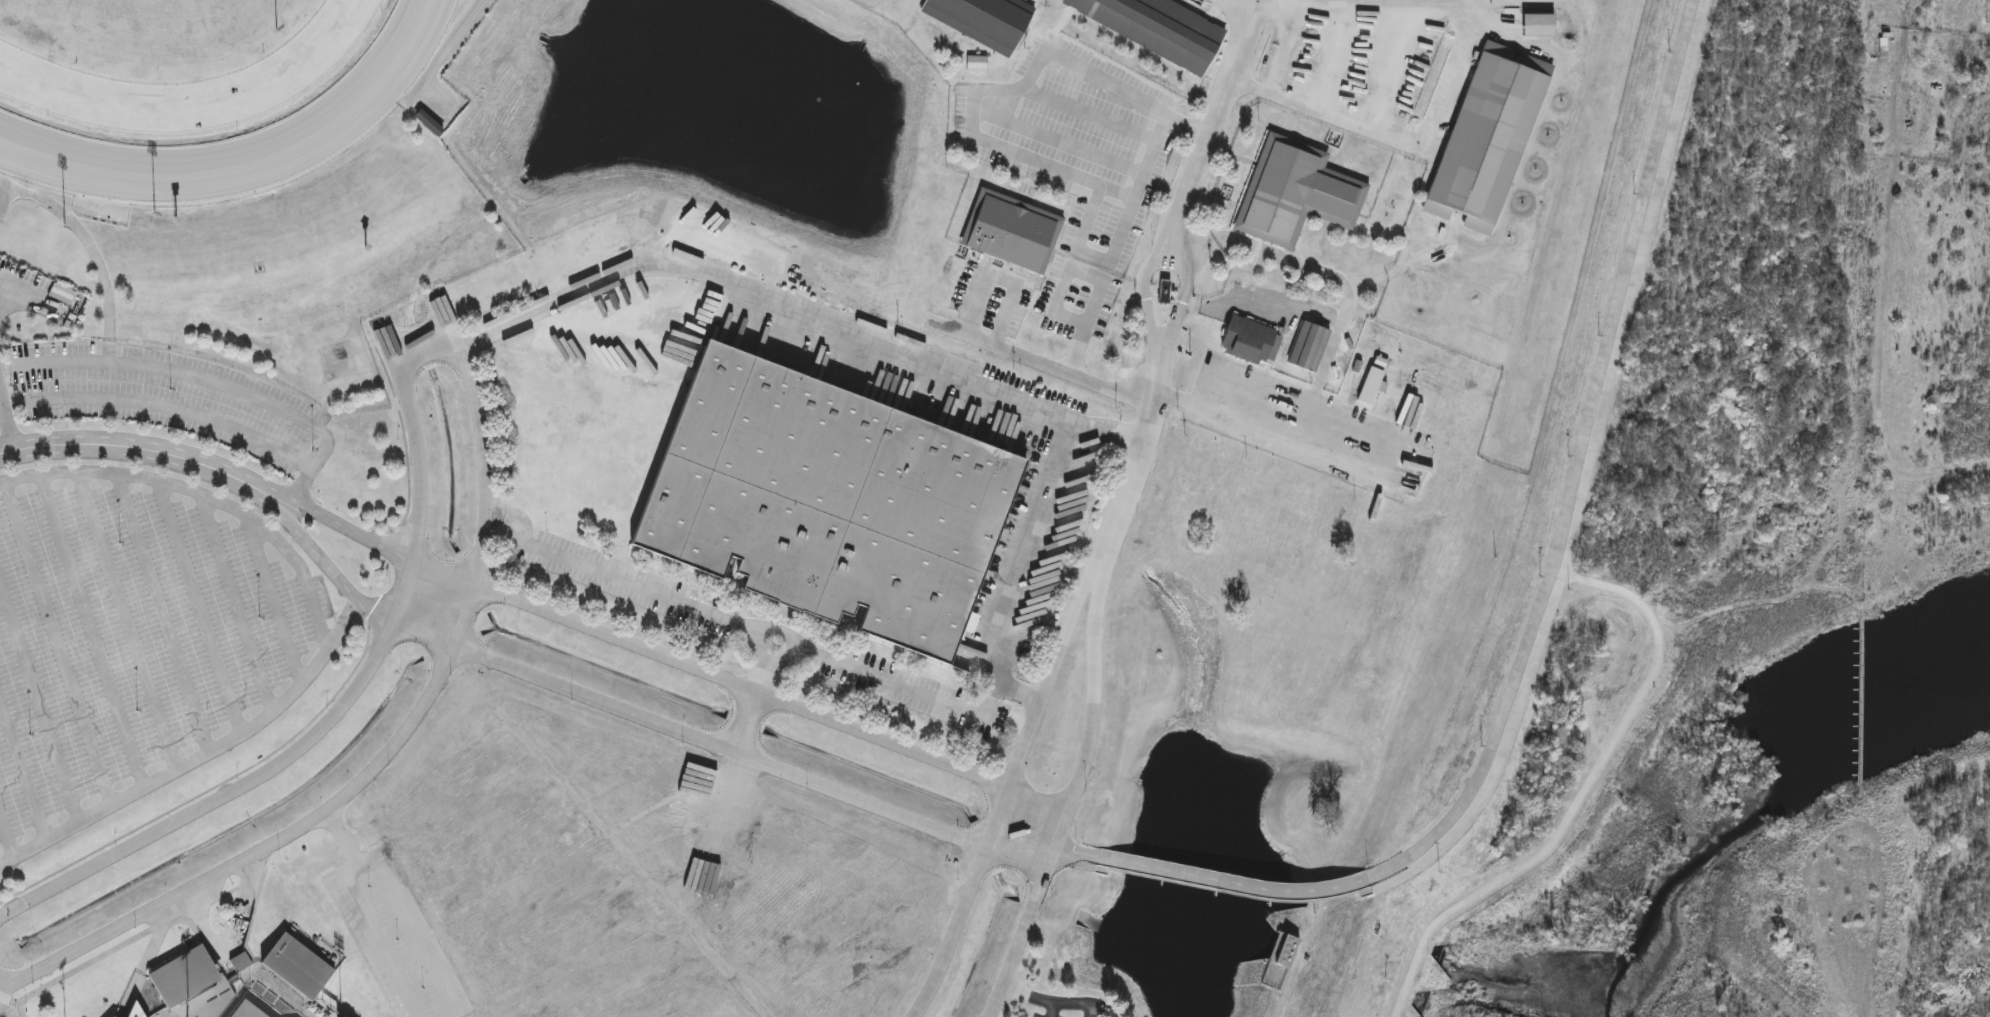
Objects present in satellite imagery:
road: (1318, 1)
road: (1351, 2)
flagpole: (0, 3)
building: (986, 20)
building: (1539, 25)
building: (1161, 29)
track: (199, 89)
road: (975, 94)
road: (1009, 112)
road: (1216, 113)
road: (1090, 114)
building: (429, 125)
road: (1187, 127)
building: (1488, 138)
road: (1396, 140)
road: (1072, 174)
building: (1295, 192)
road: (5, 196)
building: (1005, 225)
road: (89, 248)
road: (1391, 274)
parking lot: (25, 275)
road: (1096, 275)
road: (1003, 280)
road: (1342, 280)
parking lot: (1050, 285)
road: (22, 287)
road: (3, 288)
building: (1165, 291)
parking lot: (960, 293)
road: (1258, 294)
parking lot: (1079, 296)
parking lot: (1107, 309)
parking lot: (993, 310)
parking lot: (1020, 311)
road: (807, 313)
road: (945, 326)
parking lot: (1058, 327)
road: (499, 332)
road: (996, 338)
building: (1250, 340)
building: (1309, 346)
building: (1381, 361)
road: (1052, 366)
road: (205, 378)
building: (1372, 385)
parking lot: (168, 397)
road: (164, 406)
road: (6, 421)
road: (483, 426)
road: (1110, 428)
road: (1260, 431)
road: (405, 439)
road: (1147, 440)
road: (122, 446)
road: (1579, 466)
building: (828, 501)
road: (327, 516)
road: (517, 518)
road: (1028, 551)
road: (316, 552)
road: (1570, 577)
road: (1104, 580)
road: (653, 592)
parking lot: (323, 596)
road: (237, 603)
road: (274, 603)
parking lot: (256, 604)
parking lot: (217, 605)
road: (200, 608)
parking lot: (294, 609)
road: (163, 614)
road: (128, 622)
road: (343, 624)
road: (92, 632)
road: (325, 641)
road: (58, 643)
parking lot: (95, 658)
road: (1055, 663)
road: (862, 670)
road: (748, 685)
road: (354, 693)
road: (39, 702)
road: (723, 747)
road: (23, 769)
road: (210, 790)
road: (642, 816)
road: (319, 817)
road: (7, 835)
road: (343, 837)
road: (1079, 852)
road: (371, 858)
road: (631, 860)
road: (1234, 883)
road: (242, 908)
road: (162, 926)
road: (204, 927)
parking lot: (399, 937)
road: (204, 945)
road: (359, 947)
building: (1288, 952)
road: (148, 958)
building: (242, 963)
road: (79, 968)
building: (298, 968)
road: (336, 976)
building: (184, 981)
stadium: (241, 984)
road: (11, 1000)
road: (1059, 1005)
road: (5, 1009)
road: (1052, 1011)
road: (1092, 1011)
building: (136, 1012)
parking lot: (1042, 1015)
stadium: (113, 1016)

